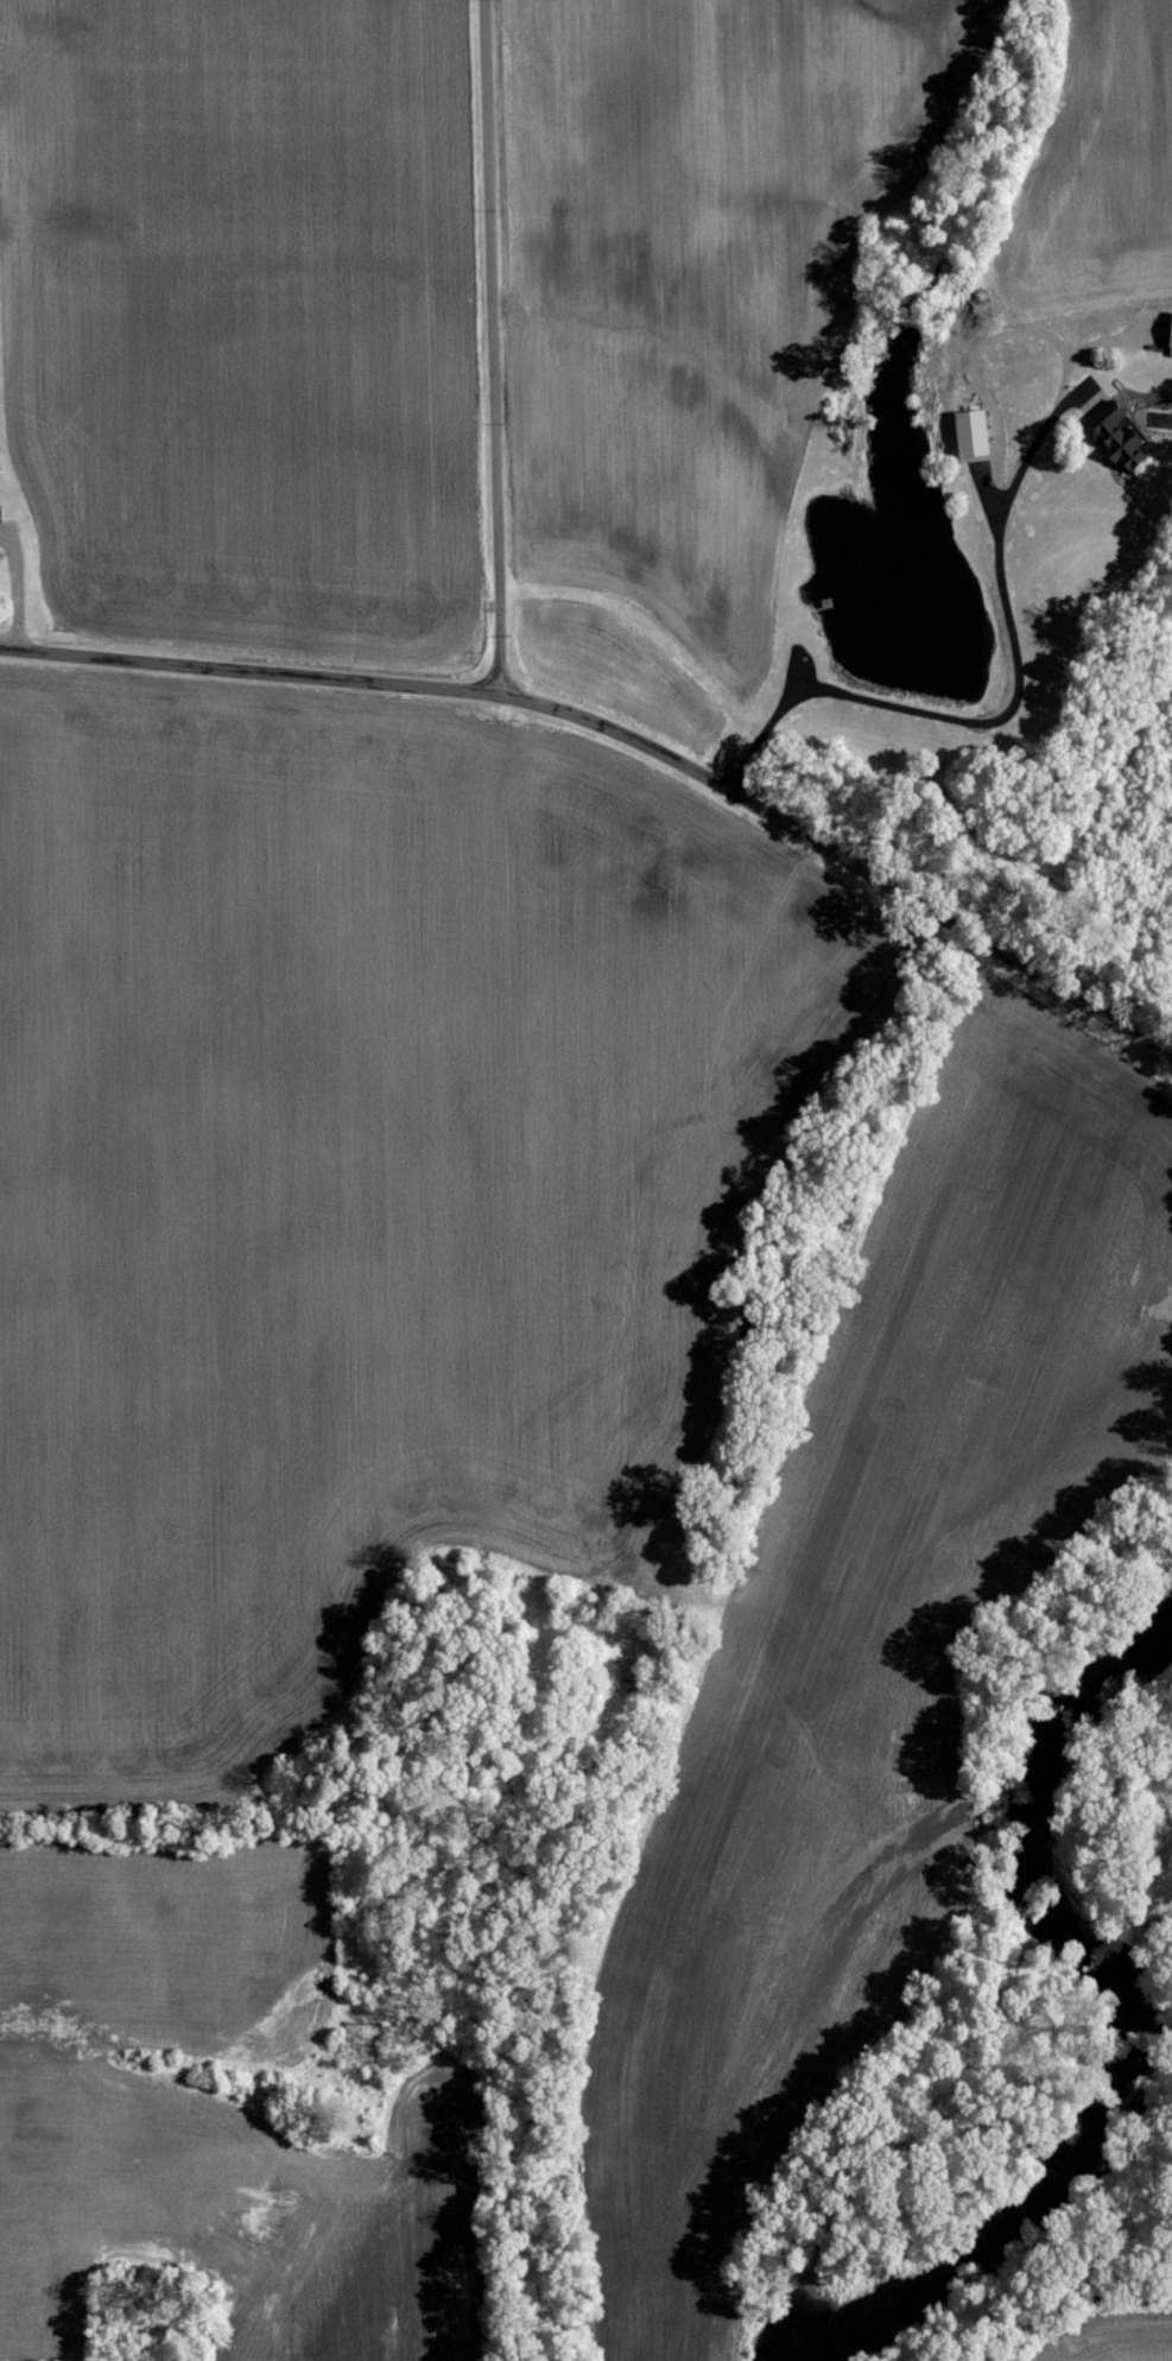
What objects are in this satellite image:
road: (493, 342)
building: (975, 433)
building: (1126, 443)
road: (18, 582)
road: (1011, 704)
road: (621, 740)
river: (1111, 2027)

